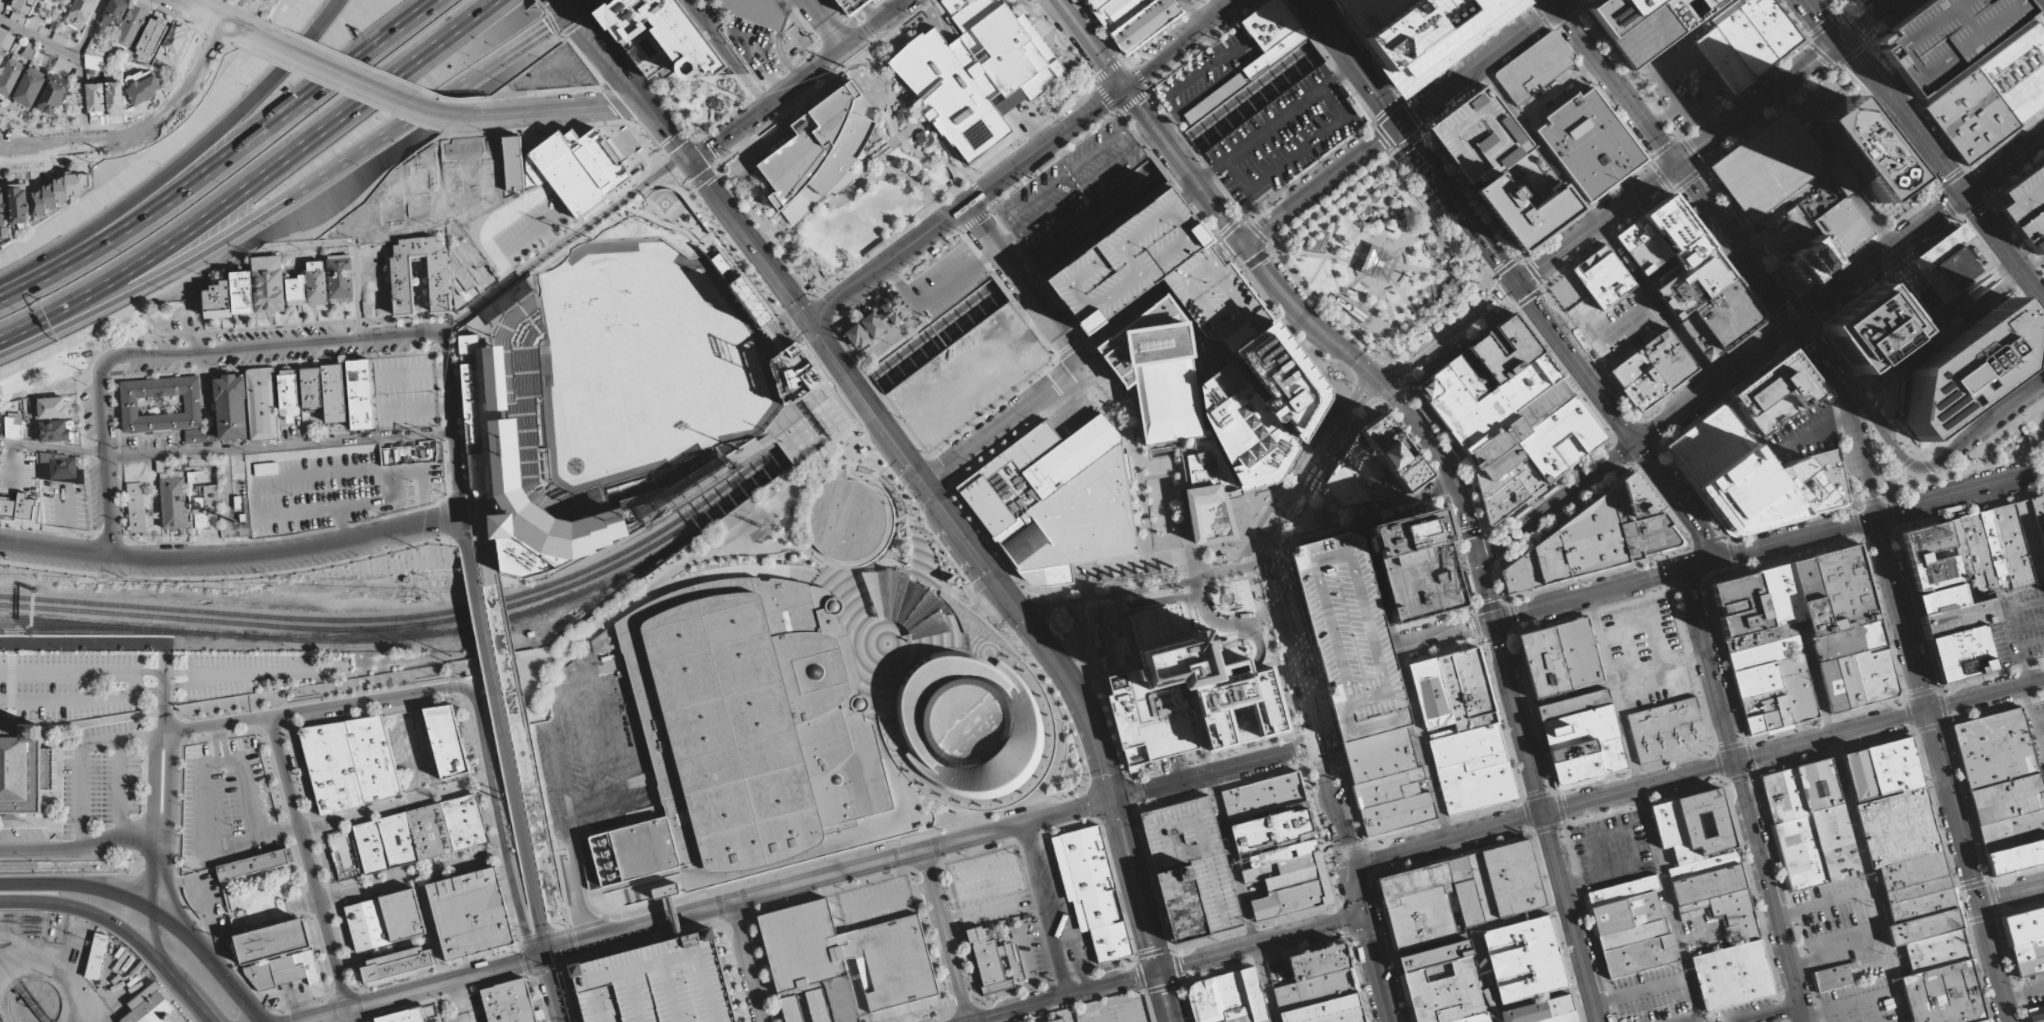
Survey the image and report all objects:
building: (43, 0)
building: (873, 1)
parking lot: (1832, 1)
parking lot: (1847, 1)
building: (860, 2)
building: (25, 5)
road: (568, 5)
road: (579, 5)
building: (1692, 10)
traffic signals: (572, 11)
building: (115, 12)
building: (759, 12)
building: (80, 13)
road: (214, 15)
building: (1132, 19)
building: (27, 21)
road: (827, 23)
building: (132, 27)
building: (1637, 27)
building: (1421, 30)
railway: (1200, 34)
road: (39, 37)
building: (655, 37)
building: (1947, 37)
building: (6, 38)
building: (152, 39)
traffic signals: (1842, 41)
road: (1089, 42)
road: (1178, 43)
building: (173, 45)
building: (29, 51)
road: (726, 53)
building: (95, 55)
railway: (1094, 56)
building: (1, 57)
building: (1722, 60)
road: (1353, 61)
road: (1483, 61)
building: (1263, 62)
building: (1536, 67)
road: (80, 70)
building: (977, 71)
building: (11, 73)
building: (2019, 73)
road: (356, 77)
road: (799, 81)
building: (30, 85)
road: (459, 85)
building: (143, 86)
road: (631, 86)
building: (53, 95)
building: (95, 97)
building: (115, 99)
road: (252, 99)
road: (556, 110)
road: (1144, 115)
building: (1971, 115)
road: (895, 131)
road: (143, 135)
parking lot: (1284, 139)
road: (12, 140)
building: (1590, 143)
road: (1927, 147)
building: (1858, 148)
building: (817, 152)
railway: (1922, 153)
road: (1176, 157)
road: (224, 159)
traffic signals: (690, 162)
road: (1675, 162)
building: (514, 163)
building: (1768, 165)
building: (1498, 167)
building: (577, 169)
road: (969, 180)
road: (254, 181)
railway: (1937, 181)
road: (1321, 182)
building: (1519, 182)
road: (1639, 190)
road: (979, 192)
building: (58, 193)
road: (963, 201)
building: (19, 204)
building: (2, 205)
road: (1213, 205)
park: (871, 207)
road: (990, 207)
building: (2024, 209)
parking garage: (2024, 209)
railway: (965, 216)
road: (974, 219)
road: (1923, 232)
road: (986, 233)
road: (955, 234)
road: (78, 237)
road: (564, 239)
road: (748, 239)
building: (1815, 240)
road: (1225, 244)
railway: (928, 256)
park: (1380, 256)
road: (180, 258)
building: (1686, 258)
fountain: (1442, 260)
road: (2033, 262)
building: (1379, 263)
road: (179, 267)
building: (1158, 270)
road: (1189, 270)
road: (1018, 275)
building: (1604, 277)
building: (341, 278)
road: (1518, 282)
building: (269, 283)
building: (317, 283)
building: (439, 283)
building: (296, 290)
road: (820, 290)
building: (243, 291)
building: (218, 300)
building: (895, 307)
road: (1336, 313)
building: (1729, 314)
road: (1303, 320)
road: (1120, 321)
building: (874, 324)
road: (1054, 325)
building: (1872, 329)
building: (857, 336)
building: (1699, 336)
road: (271, 347)
building: (1526, 349)
road: (828, 350)
road: (1821, 353)
park: (638, 365)
building: (1478, 370)
building: (1653, 370)
building: (792, 371)
railway: (889, 372)
building: (1284, 372)
building: (1960, 372)
building: (1466, 379)
stadium: (628, 380)
road: (1097, 382)
road: (1719, 382)
building: (311, 387)
building: (985, 387)
building: (1790, 387)
railway: (868, 389)
building: (1167, 389)
building: (502, 391)
parking lot: (406, 392)
building: (334, 393)
building: (289, 394)
building: (360, 394)
road: (859, 396)
building: (1483, 399)
building: (1545, 401)
building: (263, 403)
building: (130, 405)
building: (232, 406)
building: (54, 407)
road: (452, 421)
road: (1001, 422)
building: (14, 425)
building: (55, 430)
building: (1246, 430)
building: (201, 435)
railway: (819, 436)
building: (1561, 439)
park: (2019, 443)
building: (1708, 444)
road: (278, 446)
building: (1498, 447)
road: (1859, 452)
road: (104, 461)
railway: (757, 461)
road: (1313, 463)
road: (1444, 463)
road: (1937, 463)
building: (160, 465)
building: (1385, 465)
building: (60, 467)
building: (1832, 472)
traffic signals: (922, 482)
road: (1140, 486)
road: (925, 487)
building: (1807, 487)
building: (1507, 490)
building: (1749, 496)
building: (1635, 499)
building: (1056, 501)
road: (1682, 501)
building: (174, 502)
road: (1558, 502)
building: (137, 506)
building: (205, 506)
road: (1187, 507)
building: (19, 509)
building: (1210, 515)
building: (848, 519)
traffic signals: (1876, 520)
road: (463, 530)
building: (1408, 533)
building: (2033, 533)
building: (1653, 536)
building: (1595, 538)
building: (1992, 543)
road: (1769, 546)
building: (1959, 546)
building: (2012, 546)
building: (1976, 547)
road: (55, 550)
road: (287, 552)
building: (1931, 557)
building: (1553, 558)
traffic signals: (1273, 561)
traffic signals: (1479, 561)
traffic signals: (1697, 565)
building: (1523, 573)
building: (1423, 582)
road: (1146, 583)
road: (1486, 590)
building: (1942, 598)
railway: (52, 599)
building: (906, 603)
building: (1753, 603)
railway: (51, 607)
road: (1286, 616)
building: (1961, 618)
traffic signals: (1494, 620)
building: (1835, 623)
railway: (263, 624)
railway: (116, 626)
railway: (1048, 627)
parking lot: (2017, 627)
railway: (116, 632)
railway: (334, 633)
railway: (239, 635)
railway: (83, 636)
road: (484, 636)
road: (76, 643)
road: (1397, 645)
building: (1961, 655)
building: (1561, 658)
road: (242, 671)
traffic signals: (1300, 671)
road: (83, 672)
road: (1065, 672)
road: (10, 677)
road: (209, 679)
road: (135, 682)
railway: (1085, 684)
building: (1777, 685)
road: (166, 687)
building: (1467, 689)
building: (1430, 693)
building: (1189, 695)
road: (367, 699)
road: (83, 701)
road: (1309, 706)
parking lot: (2041, 715)
road: (216, 723)
building: (971, 726)
building: (746, 729)
building: (1669, 730)
building: (1582, 737)
building: (447, 742)
traffic signals: (1319, 742)
building: (1994, 748)
building: (375, 758)
building: (25, 766)
building: (334, 767)
building: (1472, 768)
road: (1216, 770)
road: (1943, 770)
road: (1697, 772)
building: (1888, 772)
building: (1388, 781)
road: (1744, 791)
traffic signals: (1113, 798)
building: (1263, 798)
building: (2006, 798)
parking lot: (227, 804)
road: (154, 817)
building: (468, 821)
road: (1547, 821)
road: (500, 823)
building: (1712, 823)
building: (1812, 824)
building: (1673, 825)
building: (432, 830)
building: (1272, 830)
building: (2011, 831)
road: (169, 832)
road: (560, 836)
building: (400, 839)
road: (522, 839)
road: (77, 847)
building: (358, 849)
building: (1197, 857)
parking lot: (1197, 857)
building: (1910, 857)
building: (2015, 857)
road: (887, 860)
road: (307, 861)
building: (254, 863)
railway: (44, 866)
traffic signals: (1351, 866)
road: (413, 878)
building: (1285, 878)
road: (1870, 878)
road: (1355, 882)
road: (77, 883)
building: (1011, 886)
building: (666, 890)
building: (1094, 891)
road: (2011, 894)
building: (1462, 895)
road: (1669, 898)
park: (264, 899)
building: (1724, 904)
building: (1186, 905)
road: (1142, 910)
building: (474, 913)
traffic signals: (1363, 913)
building: (406, 915)
building: (369, 924)
railway: (1167, 928)
road: (122, 929)
building: (1632, 929)
building: (1930, 929)
road: (663, 932)
road: (946, 936)
road: (155, 938)
road: (602, 938)
building: (2025, 940)
building: (275, 942)
building: (848, 953)
building: (1939, 953)
building: (96, 955)
traffic signals: (544, 955)
building: (996, 956)
road: (208, 959)
road: (748, 962)
building: (1320, 962)
building: (1529, 962)
building: (401, 964)
road: (1166, 967)
building: (286, 970)
traffic signals: (1158, 971)
building: (1838, 976)
railway: (34, 977)
road: (1487, 977)
building: (1736, 978)
road: (445, 982)
road: (677, 982)
building: (658, 984)
building: (1447, 985)
road: (552, 988)
railway: (23, 991)
building: (1950, 995)
building: (1230, 999)
building: (1321, 999)
building: (511, 1002)
parking lot: (1861, 1002)
railway: (4, 1004)
building: (818, 1005)
building: (152, 1007)
building: (791, 1008)
building: (1543, 1011)
building: (2034, 1014)
road: (322, 1015)
road: (348, 1015)
building: (405, 1016)
building: (1060, 1020)

